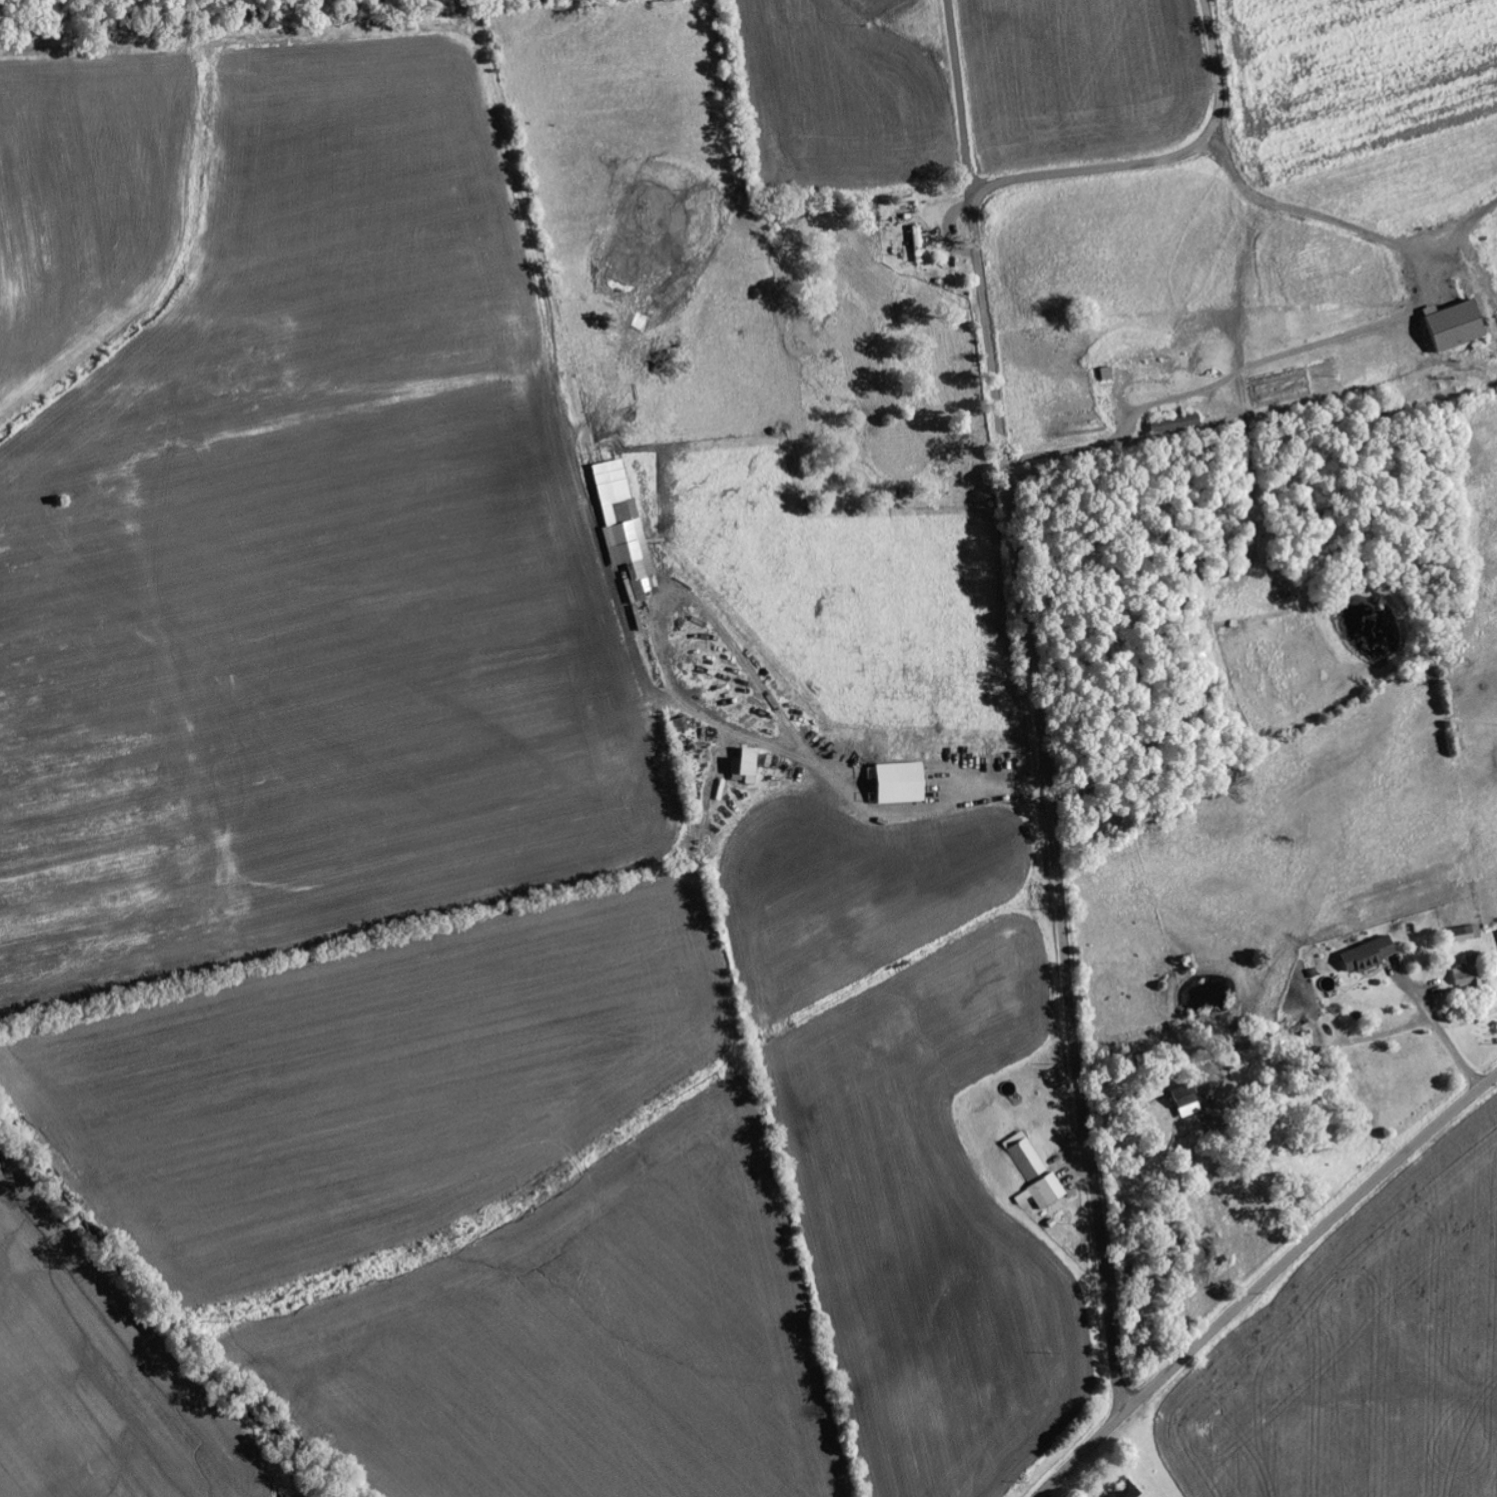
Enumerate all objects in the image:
road: (959, 92)
road: (1160, 158)
building: (918, 244)
building: (1455, 326)
building: (1175, 425)
building: (624, 526)
building: (745, 765)
building: (899, 783)
road: (1049, 799)
building: (1466, 934)
building: (1367, 956)
building: (1467, 974)
building: (1187, 1107)
building: (1025, 1157)
building: (1047, 1193)
road: (1264, 1281)
building: (1125, 1491)

